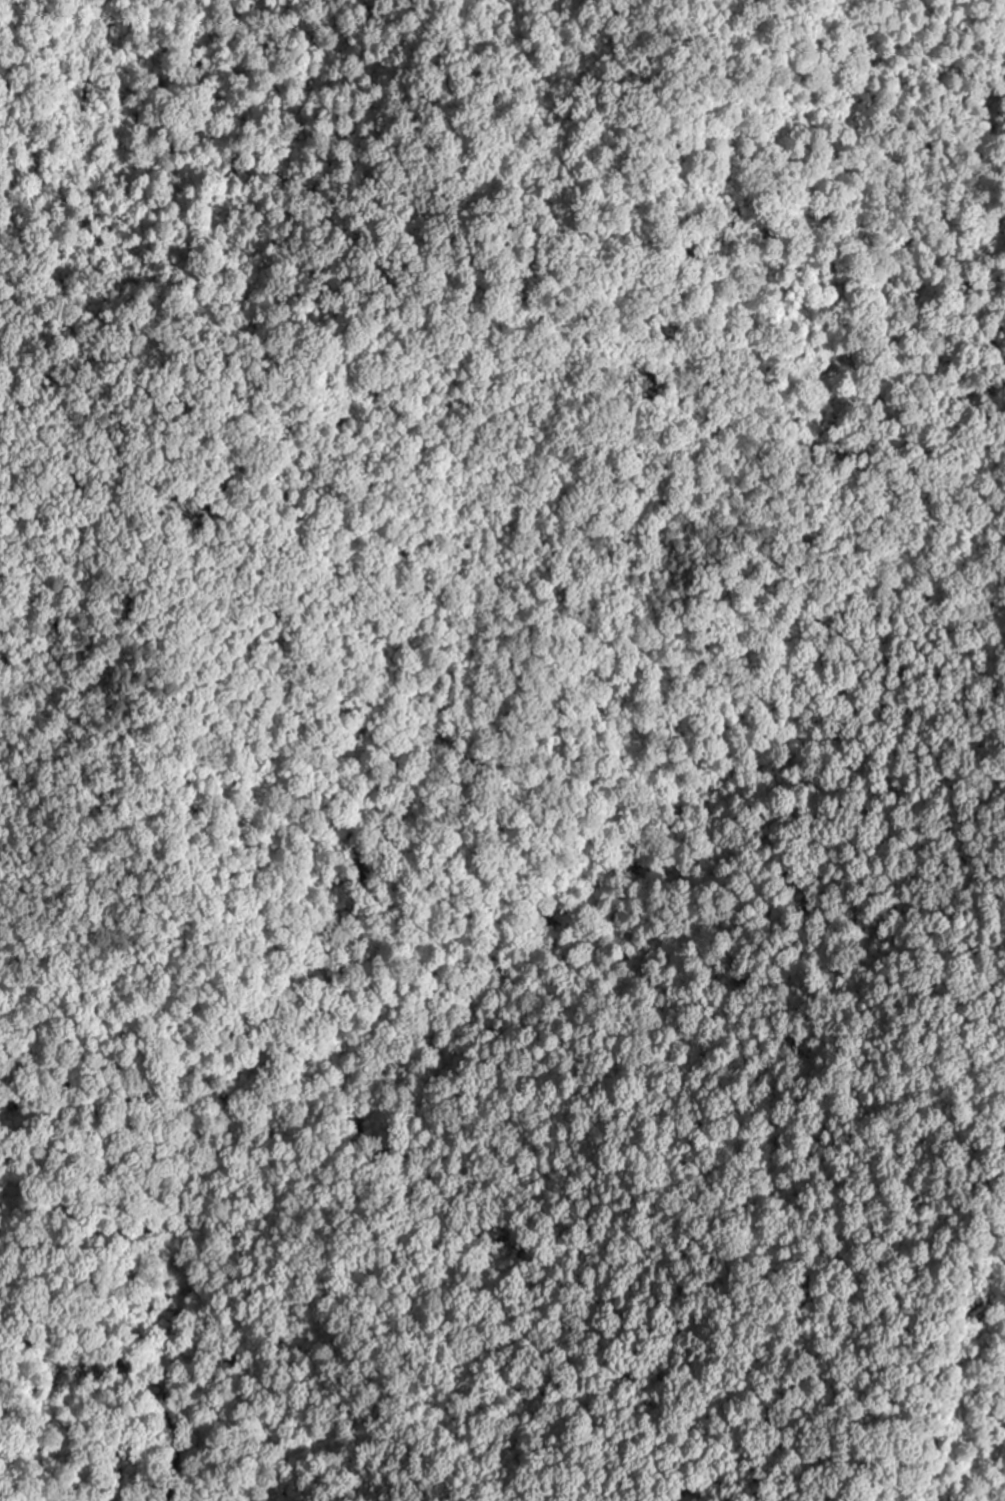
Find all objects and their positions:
road: (918, 608)

